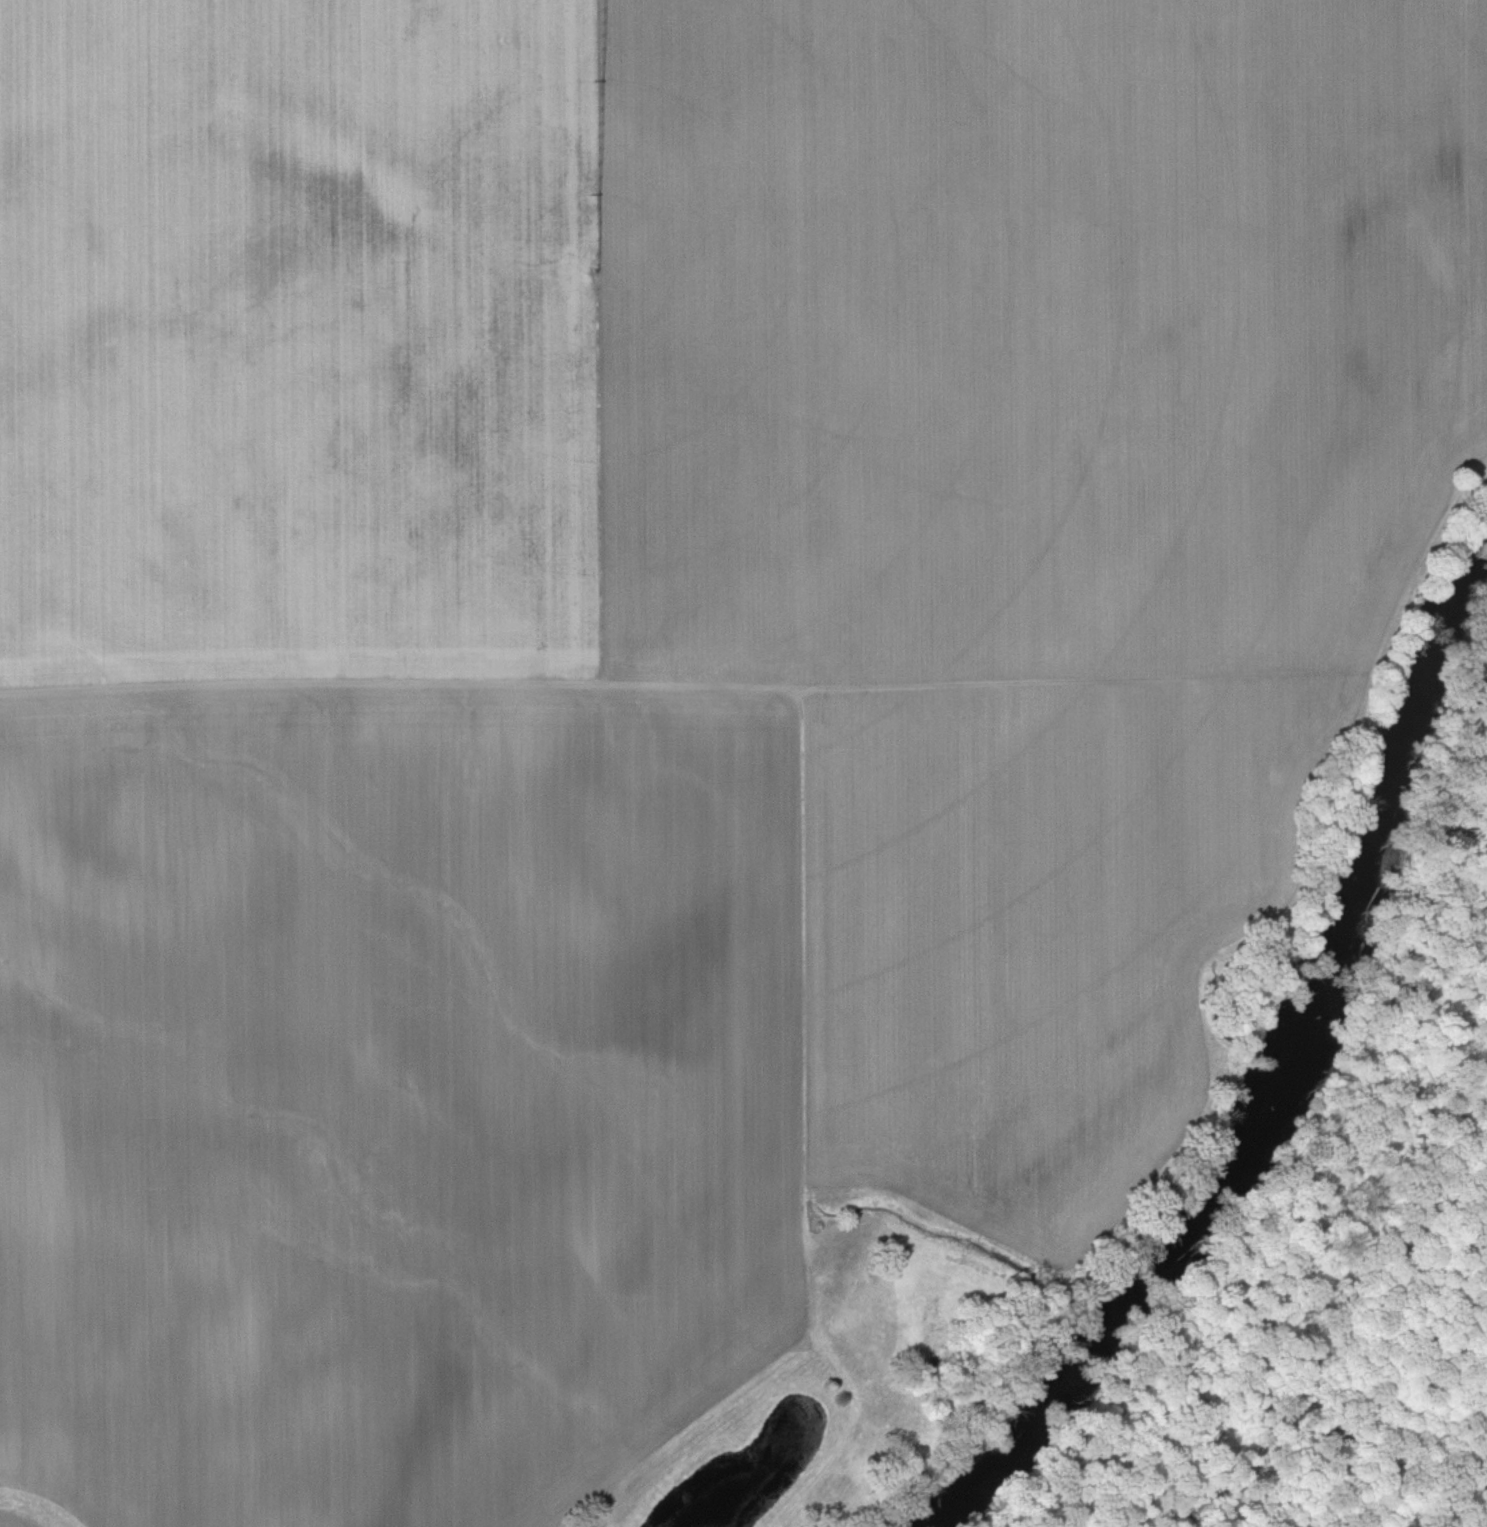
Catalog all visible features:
river: (1275, 1096)

